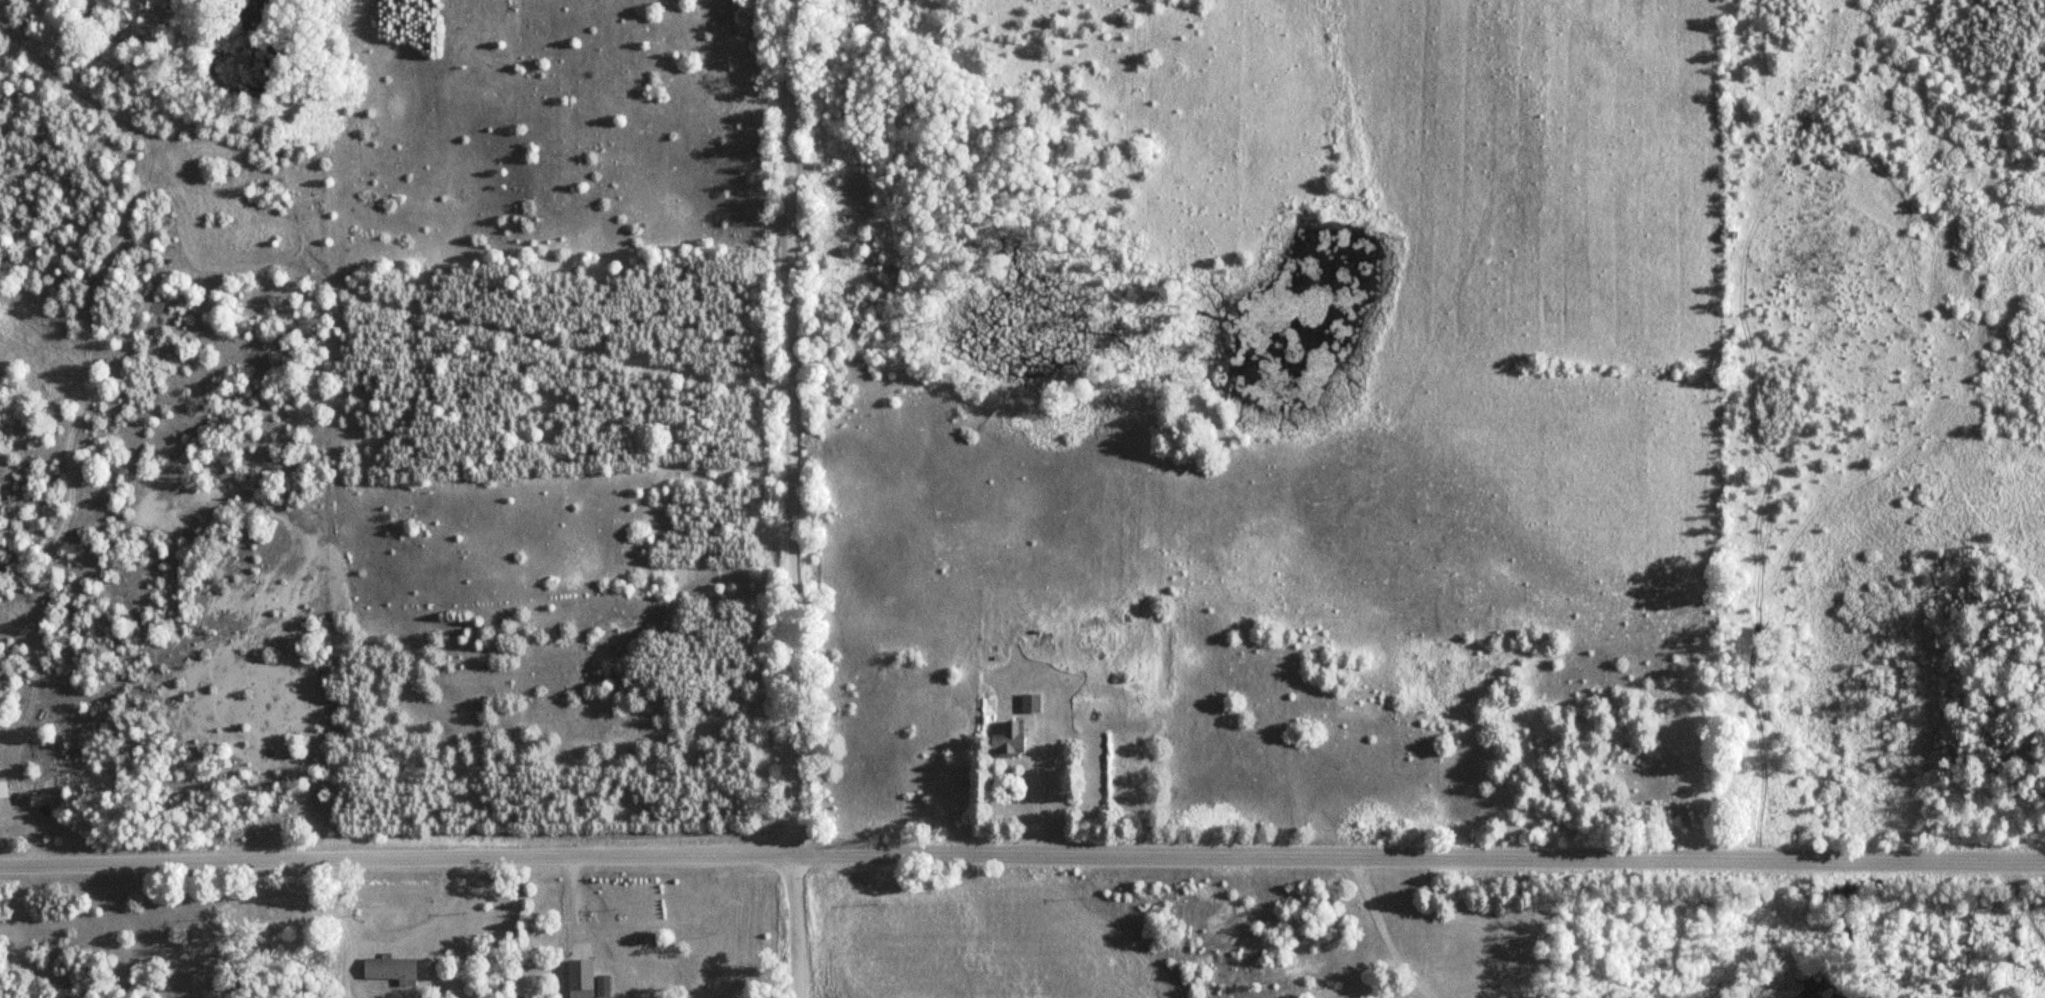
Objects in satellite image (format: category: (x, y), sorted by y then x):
road: (793, 426)
building: (1030, 702)
building: (1008, 740)
road: (1022, 853)
road: (794, 925)
road: (1383, 932)
building: (390, 967)
building: (579, 978)
building: (622, 997)

